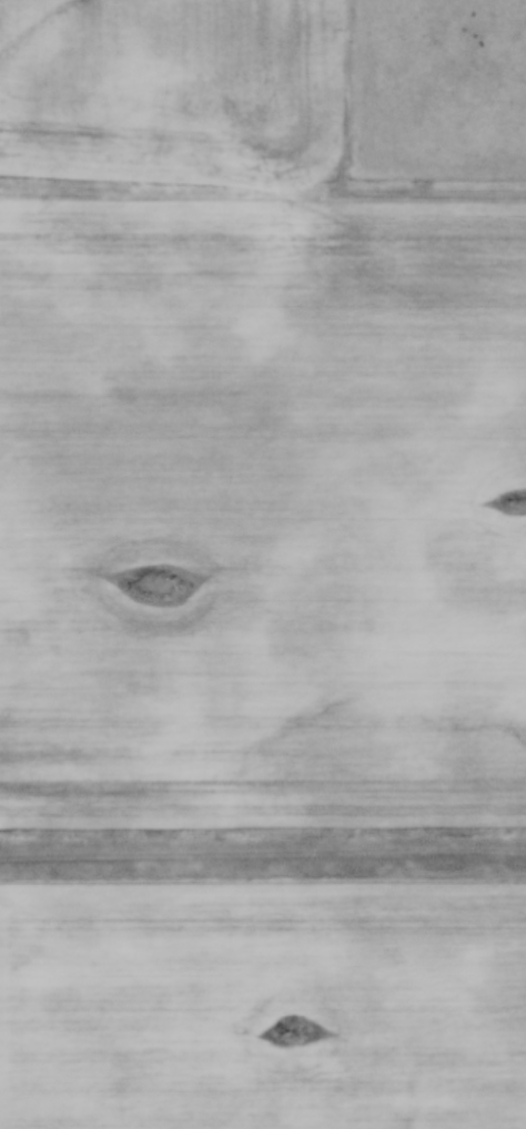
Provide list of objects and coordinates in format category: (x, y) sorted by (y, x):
road: (262, 855)

